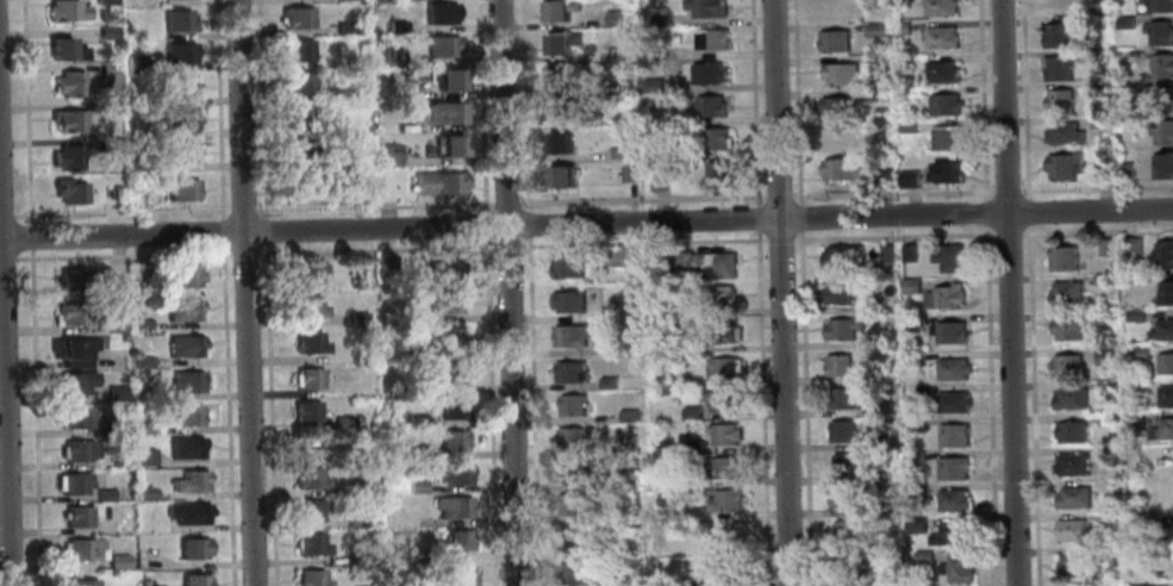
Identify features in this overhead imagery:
building: (898, 0)
building: (104, 1)
building: (1159, 5)
building: (1057, 6)
building: (704, 7)
building: (940, 7)
building: (64, 10)
building: (557, 10)
building: (441, 12)
building: (295, 17)
building: (613, 18)
building: (659, 19)
building: (177, 20)
building: (1125, 23)
building: (394, 26)
building: (344, 27)
building: (900, 27)
building: (876, 29)
building: (105, 31)
building: (1160, 33)
building: (1057, 36)
building: (941, 37)
building: (712, 39)
building: (832, 39)
building: (560, 42)
building: (442, 45)
building: (63, 49)
building: (297, 50)
building: (179, 54)
building: (623, 54)
building: (1094, 55)
building: (393, 56)
building: (876, 61)
building: (135, 63)
building: (1162, 66)
building: (1057, 68)
building: (938, 71)
building: (107, 73)
building: (707, 73)
building: (840, 73)
building: (559, 75)
building: (447, 77)
building: (298, 82)
building: (68, 83)
building: (651, 83)
building: (181, 86)
building: (623, 86)
building: (1100, 87)
building: (1127, 87)
building: (410, 92)
building: (878, 94)
building: (905, 94)
road: (1024, 98)
building: (1162, 98)
road: (981, 99)
road: (751, 101)
road: (795, 101)
building: (1059, 101)
building: (943, 104)
road: (480, 105)
building: (710, 105)
road: (523, 106)
building: (835, 106)
building: (107, 108)
building: (559, 108)
road: (217, 110)
road: (261, 110)
building: (432, 111)
road: (25, 112)
building: (298, 117)
building: (179, 119)
building: (622, 119)
building: (67, 120)
building: (1128, 120)
building: (1099, 121)
building: (909, 126)
building: (1162, 131)
building: (1063, 132)
building: (712, 138)
building: (837, 138)
building: (946, 138)
building: (560, 142)
building: (108, 143)
building: (449, 144)
building: (298, 149)
building: (619, 151)
building: (685, 151)
building: (181, 152)
building: (389, 154)
building: (64, 157)
building: (347, 160)
building: (137, 164)
building: (1063, 164)
building: (1162, 166)
building: (840, 169)
building: (1102, 172)
building: (1125, 172)
building: (628, 173)
building: (944, 173)
building: (717, 174)
building: (560, 175)
building: (881, 177)
building: (909, 177)
building: (657, 180)
building: (438, 182)
building: (299, 185)
building: (181, 188)
road: (1096, 188)
building: (68, 191)
road: (1004, 191)
road: (891, 194)
building: (135, 197)
road: (776, 198)
road: (641, 200)
road: (505, 202)
road: (373, 206)
road: (242, 210)
road: (1027, 211)
road: (123, 212)
road: (984, 212)
road: (7, 216)
road: (755, 217)
road: (798, 218)
road: (586, 224)
road: (483, 225)
road: (526, 225)
road: (1096, 231)
road: (264, 232)
road: (222, 233)
road: (1005, 233)
road: (29, 237)
road: (891, 237)
road: (778, 239)
road: (642, 242)
road: (506, 245)
building: (1130, 245)
building: (1105, 247)
road: (375, 249)
road: (243, 253)
building: (909, 253)
building: (886, 254)
road: (121, 255)
building: (841, 255)
building: (1163, 255)
building: (623, 256)
road: (6, 257)
building: (949, 258)
building: (1062, 258)
building: (704, 263)
building: (385, 264)
building: (566, 266)
building: (442, 270)
building: (137, 272)
building: (307, 272)
building: (183, 275)
building: (1102, 278)
building: (70, 279)
building: (911, 285)
road: (508, 292)
road: (780, 292)
building: (838, 292)
road: (1009, 292)
building: (1065, 292)
building: (1165, 292)
road: (243, 293)
building: (718, 295)
building: (943, 297)
building: (568, 300)
building: (444, 303)
building: (875, 305)
building: (307, 307)
building: (181, 310)
building: (607, 312)
building: (71, 314)
building: (1135, 314)
building: (356, 318)
building: (911, 320)
building: (139, 324)
building: (114, 326)
building: (842, 328)
building: (1068, 329)
building: (1162, 330)
building: (720, 331)
building: (947, 332)
building: (569, 335)
building: (445, 339)
building: (876, 341)
building: (307, 342)
building: (183, 345)
building: (70, 348)
building: (617, 348)
building: (412, 353)
building: (1138, 353)
building: (1104, 355)
building: (912, 359)
building: (141, 361)
building: (73, 362)
building: (1165, 362)
building: (1065, 364)
building: (838, 366)
building: (720, 368)
building: (951, 368)
building: (567, 370)
building: (447, 374)
building: (876, 375)
building: (665, 376)
building: (308, 379)
building: (186, 380)
building: (74, 382)
building: (606, 382)
building: (1105, 386)
building: (423, 388)
building: (114, 393)
building: (1165, 397)
building: (842, 398)
building: (1069, 398)
building: (718, 399)
road: (5, 400)
building: (951, 401)
building: (572, 405)
road: (1031, 405)
building: (450, 406)
road: (988, 406)
road: (760, 409)
road: (804, 409)
building: (882, 409)
road: (489, 411)
road: (532, 411)
building: (304, 412)
building: (691, 412)
building: (185, 413)
road: (268, 414)
road: (226, 416)
building: (628, 416)
road: (33, 417)
building: (69, 418)
building: (1133, 419)
building: (414, 420)
building: (341, 423)
building: (913, 423)
building: (116, 424)
building: (141, 426)
building: (1162, 429)
building: (842, 430)
building: (1071, 431)
building: (722, 434)
building: (953, 435)
building: (573, 437)
building: (449, 440)
building: (880, 441)
building: (629, 444)
building: (182, 447)
building: (693, 447)
building: (77, 449)
building: (413, 453)
building: (1106, 455)
building: (143, 457)
building: (915, 459)
building: (1169, 460)
building: (113, 462)
building: (844, 463)
building: (1071, 463)
building: (719, 468)
building: (950, 468)
building: (575, 469)
building: (451, 474)
building: (307, 478)
building: (626, 478)
building: (189, 481)
building: (73, 482)
building: (413, 487)
building: (916, 492)
building: (143, 493)
building: (104, 494)
building: (1073, 497)
building: (841, 498)
building: (953, 499)
building: (724, 500)
building: (570, 504)
building: (451, 506)
building: (307, 510)
building: (126, 511)
building: (186, 512)
building: (75, 516)
building: (1109, 518)
building: (354, 519)
building: (919, 523)
building: (1167, 528)
building: (1072, 530)
building: (844, 531)
building: (950, 534)
building: (730, 537)
building: (573, 538)
building: (455, 540)
building: (891, 542)
building: (310, 544)
building: (191, 547)
building: (82, 549)
building: (417, 555)
building: (356, 556)
building: (923, 556)
building: (1167, 561)
building: (116, 562)
building: (1075, 565)
building: (846, 566)
building: (955, 568)
building: (723, 572)
building: (574, 574)
building: (456, 575)
building: (310, 578)
building: (891, 578)
building: (192, 580)
building: (685, 581)
building: (80, 582)
building: (1110, 584)
building: (1137, 584)
building: (429, 585)

